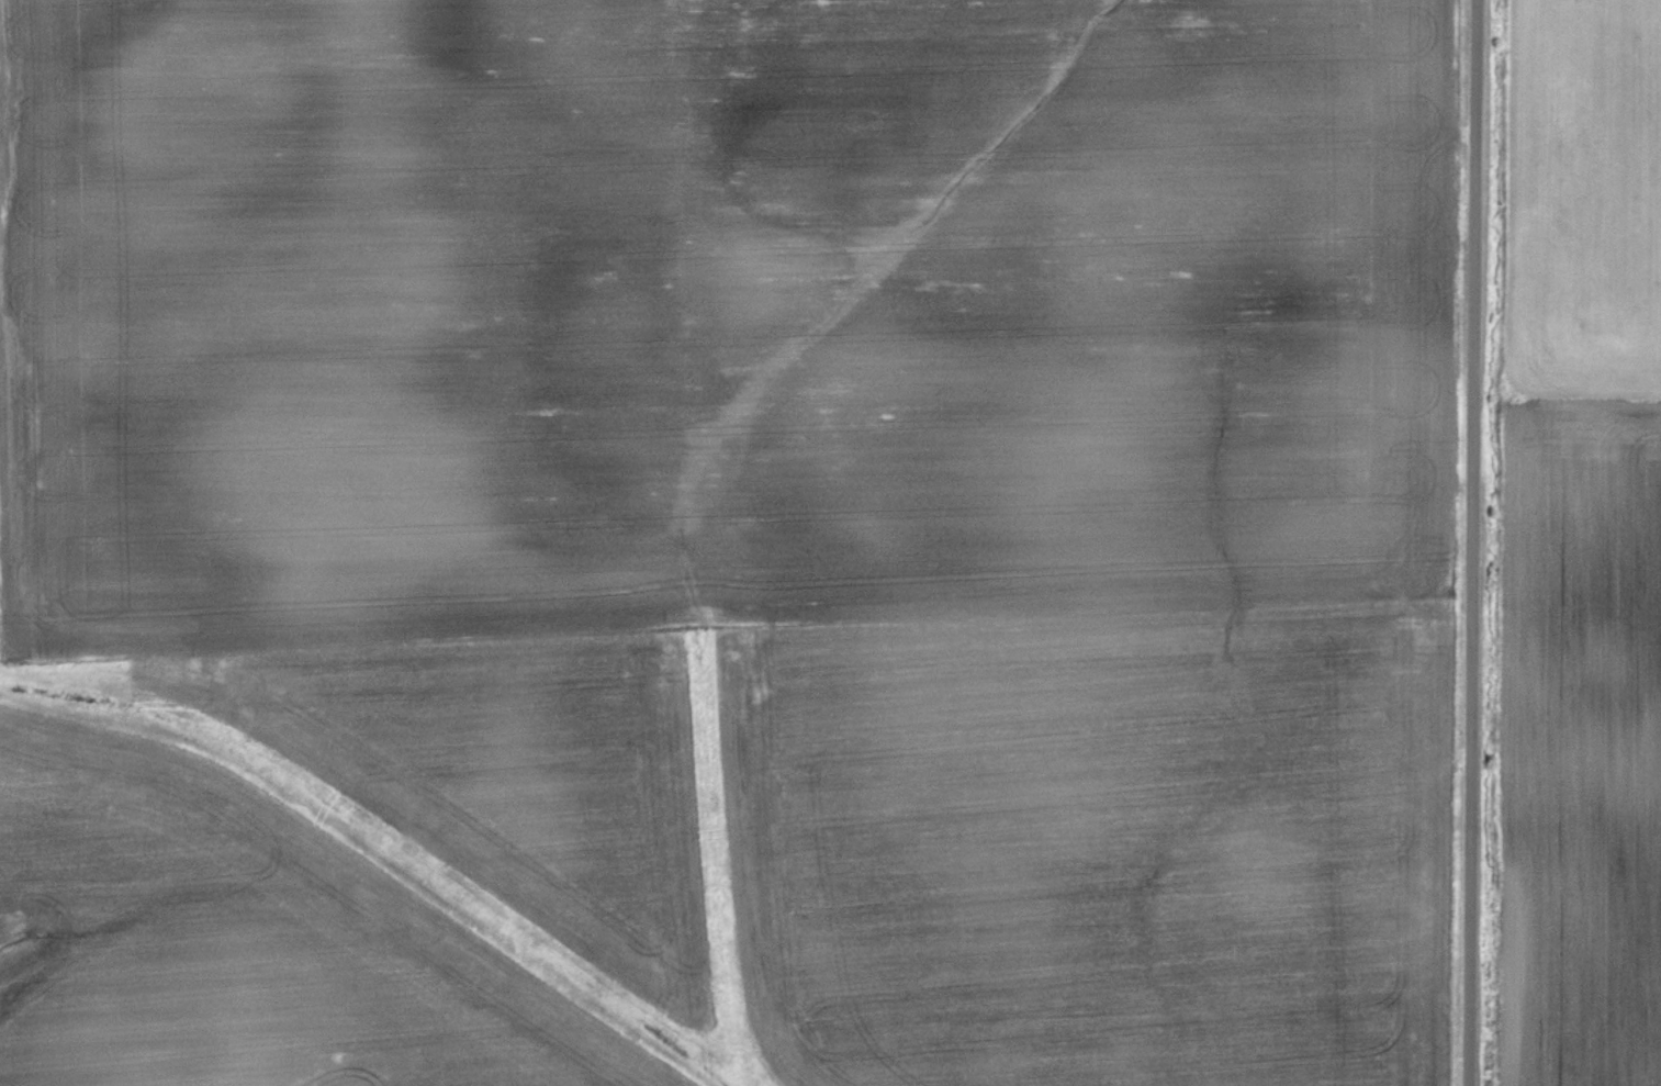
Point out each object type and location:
road: (1472, 542)

